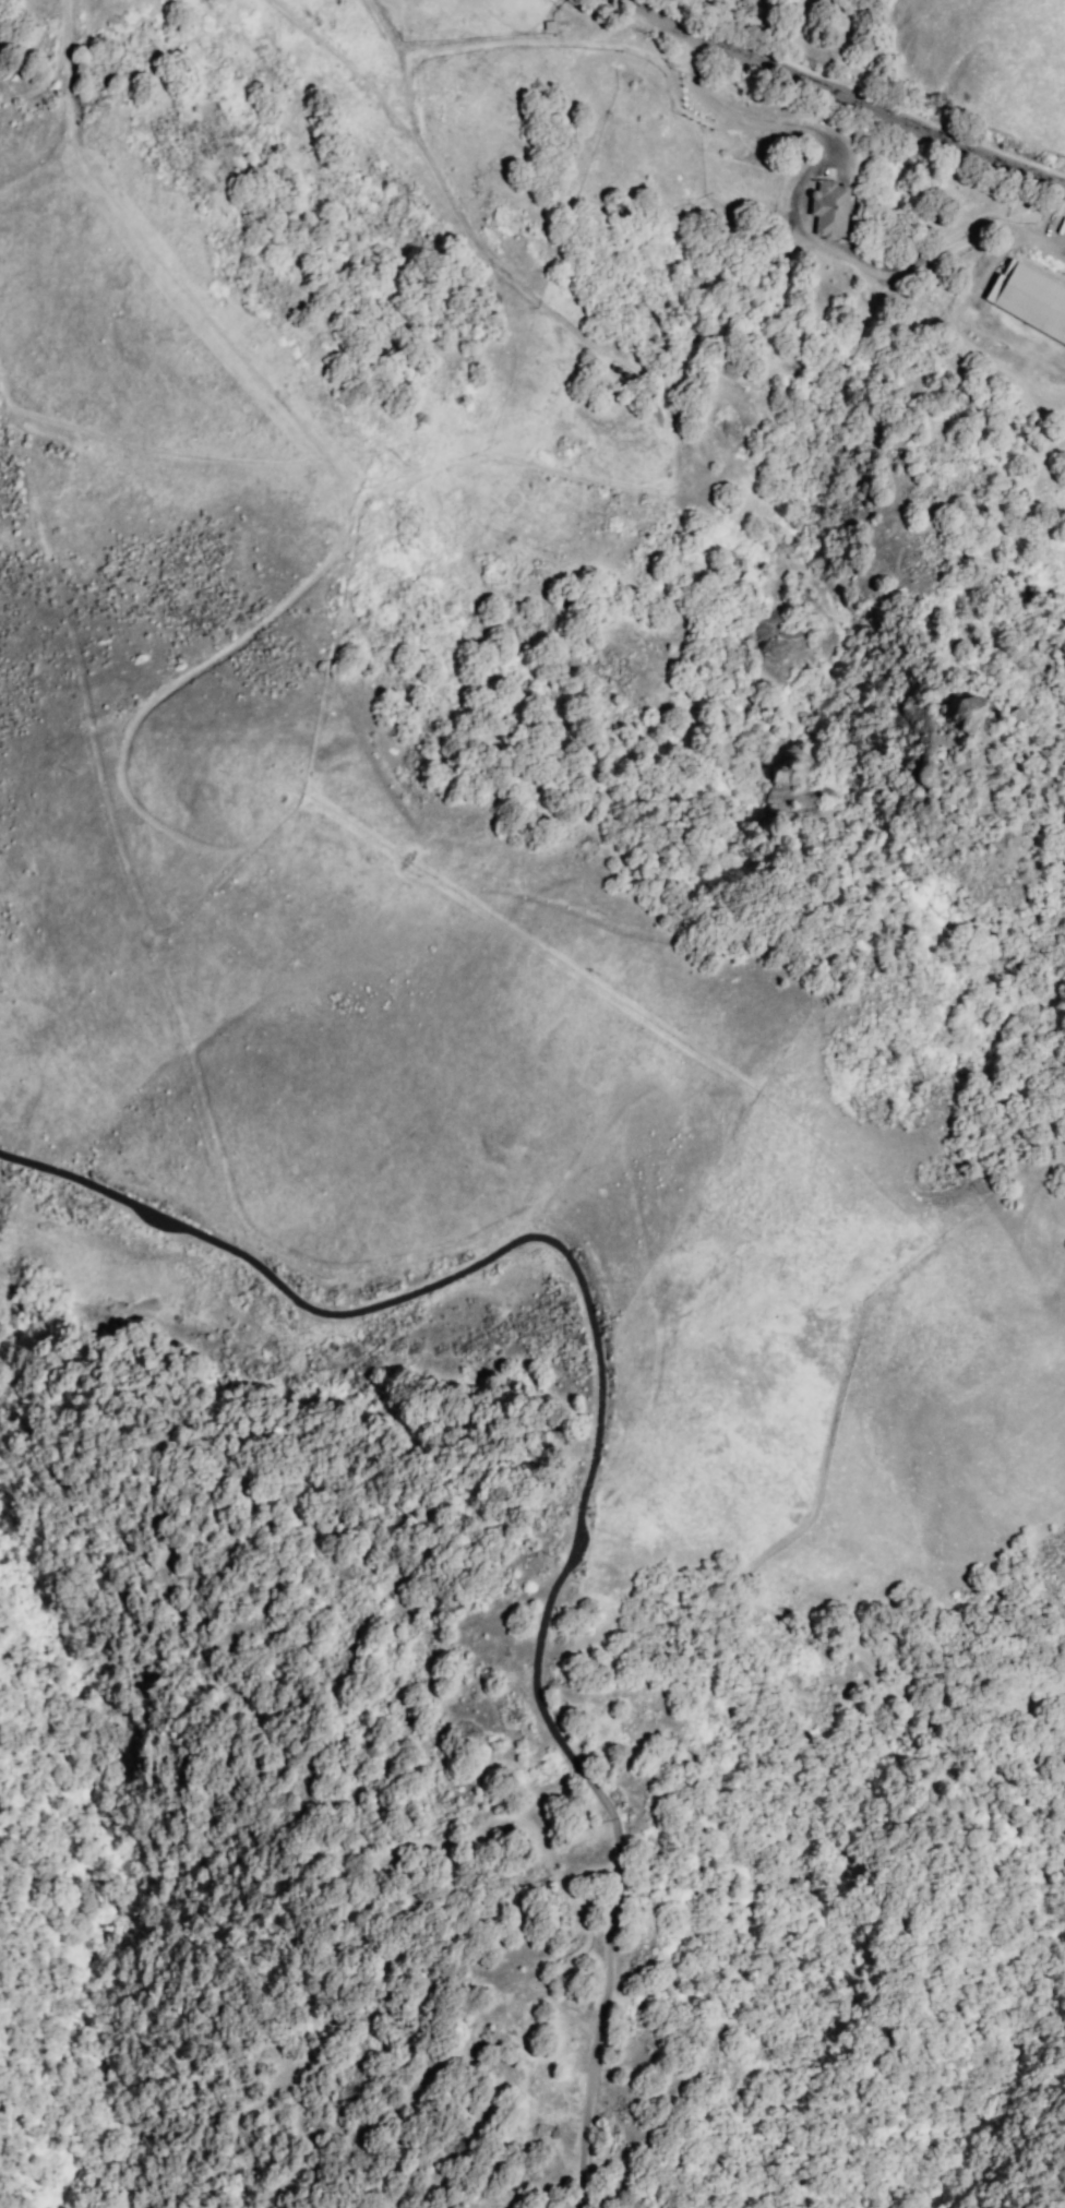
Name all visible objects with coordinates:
road: (842, 98)
building: (829, 211)
building: (1034, 300)
building: (966, 716)
road: (408, 1296)
road: (824, 1455)
road: (620, 1852)

